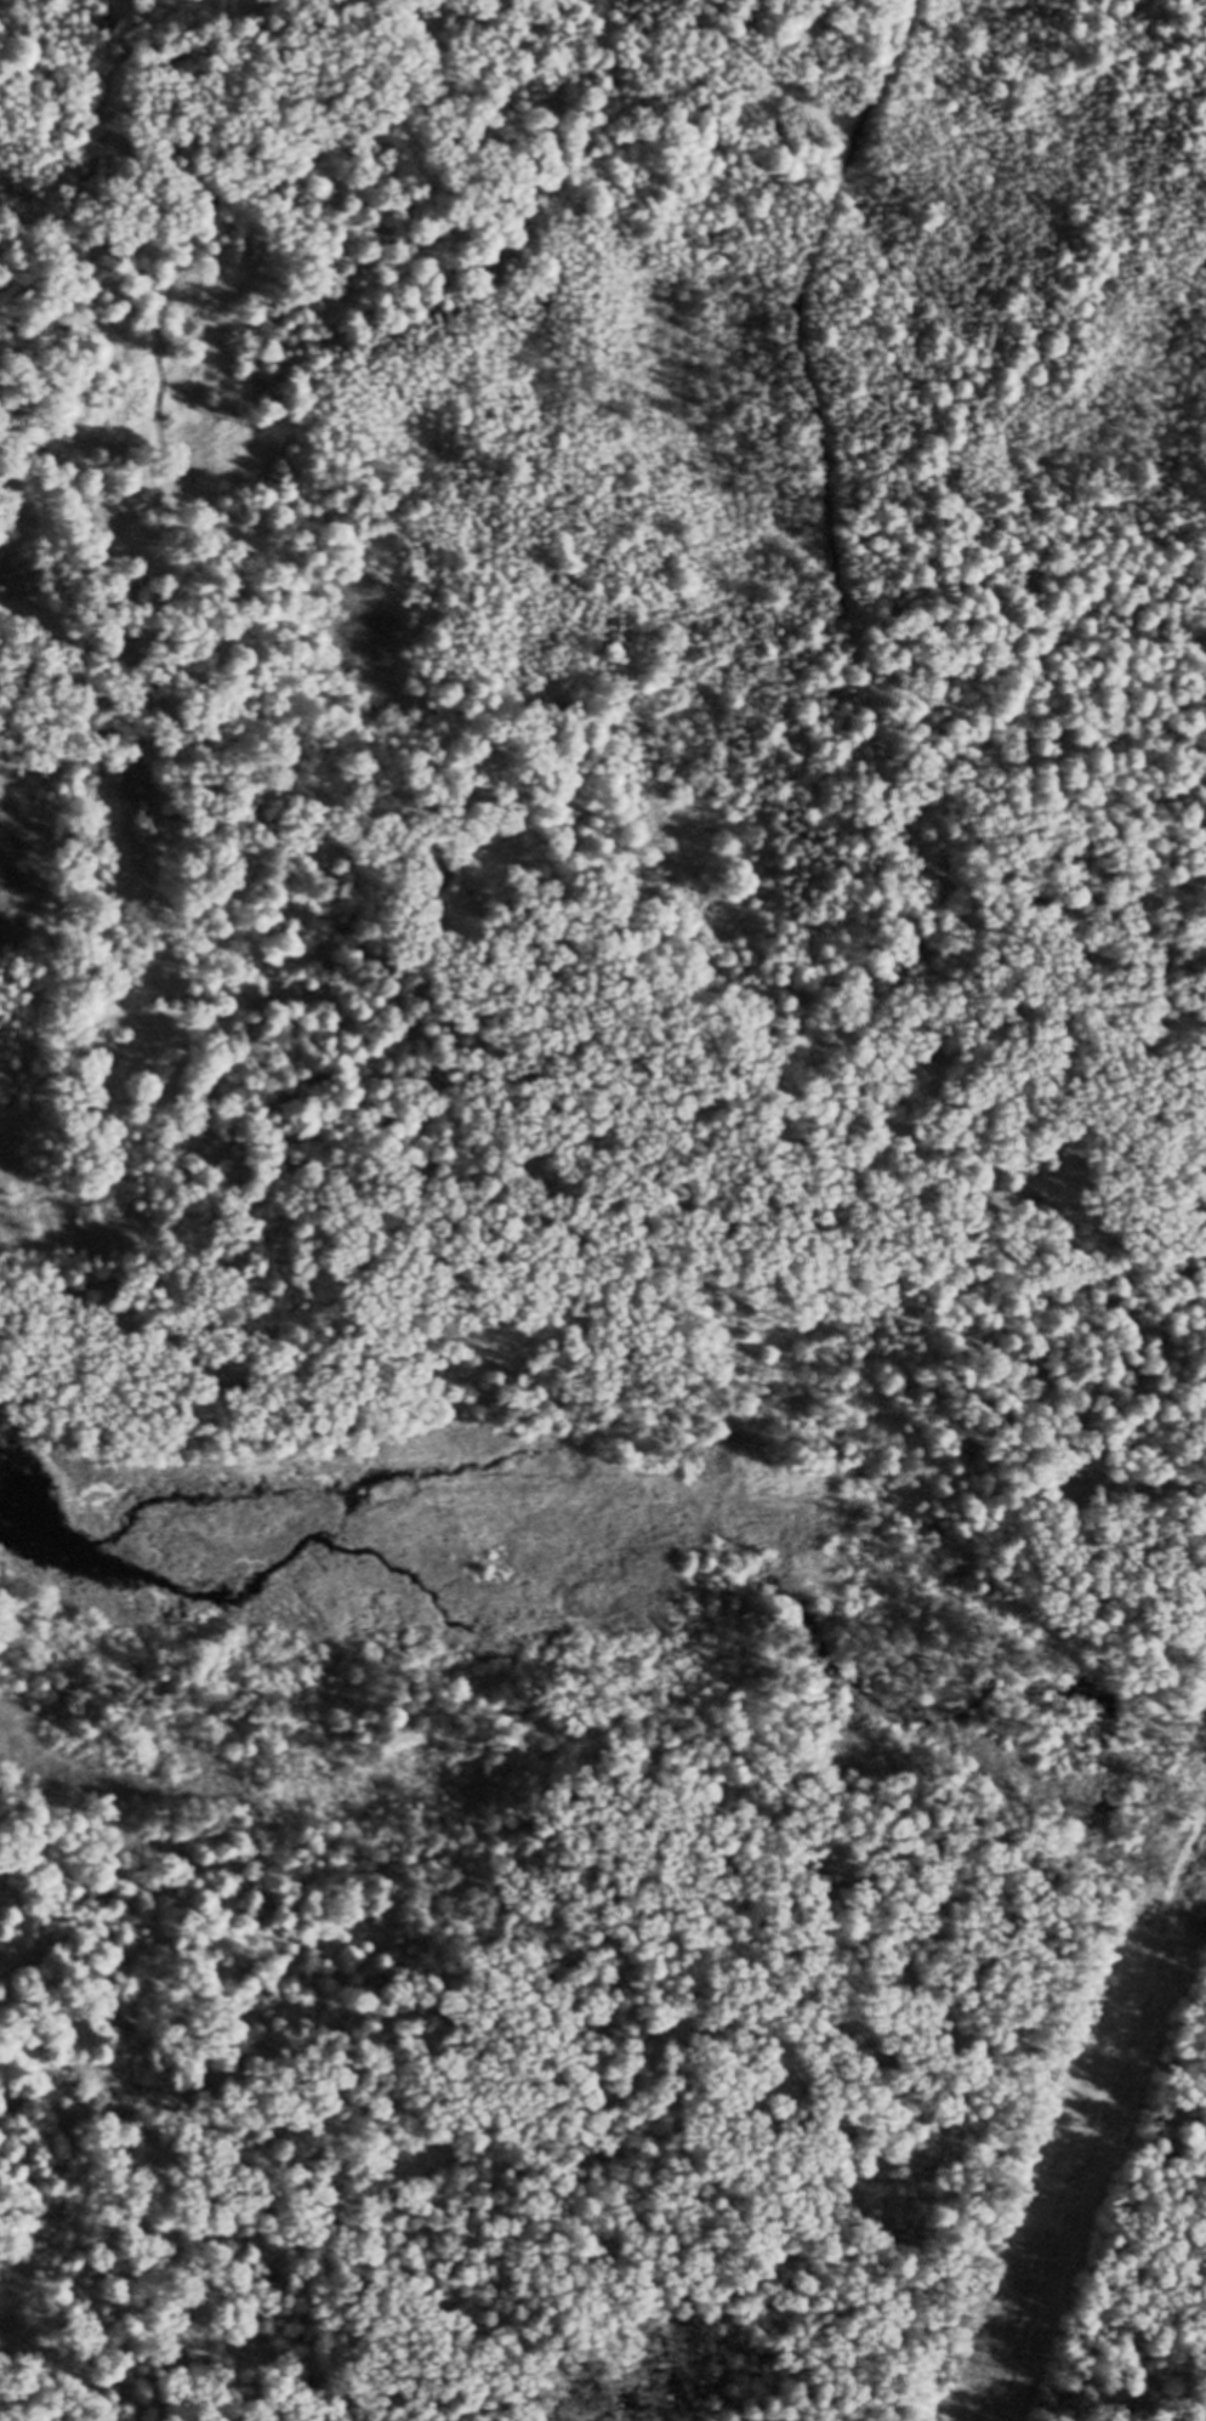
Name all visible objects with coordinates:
road: (1140, 1485)
power tower: (1144, 1947)
power tower: (1017, 2284)

